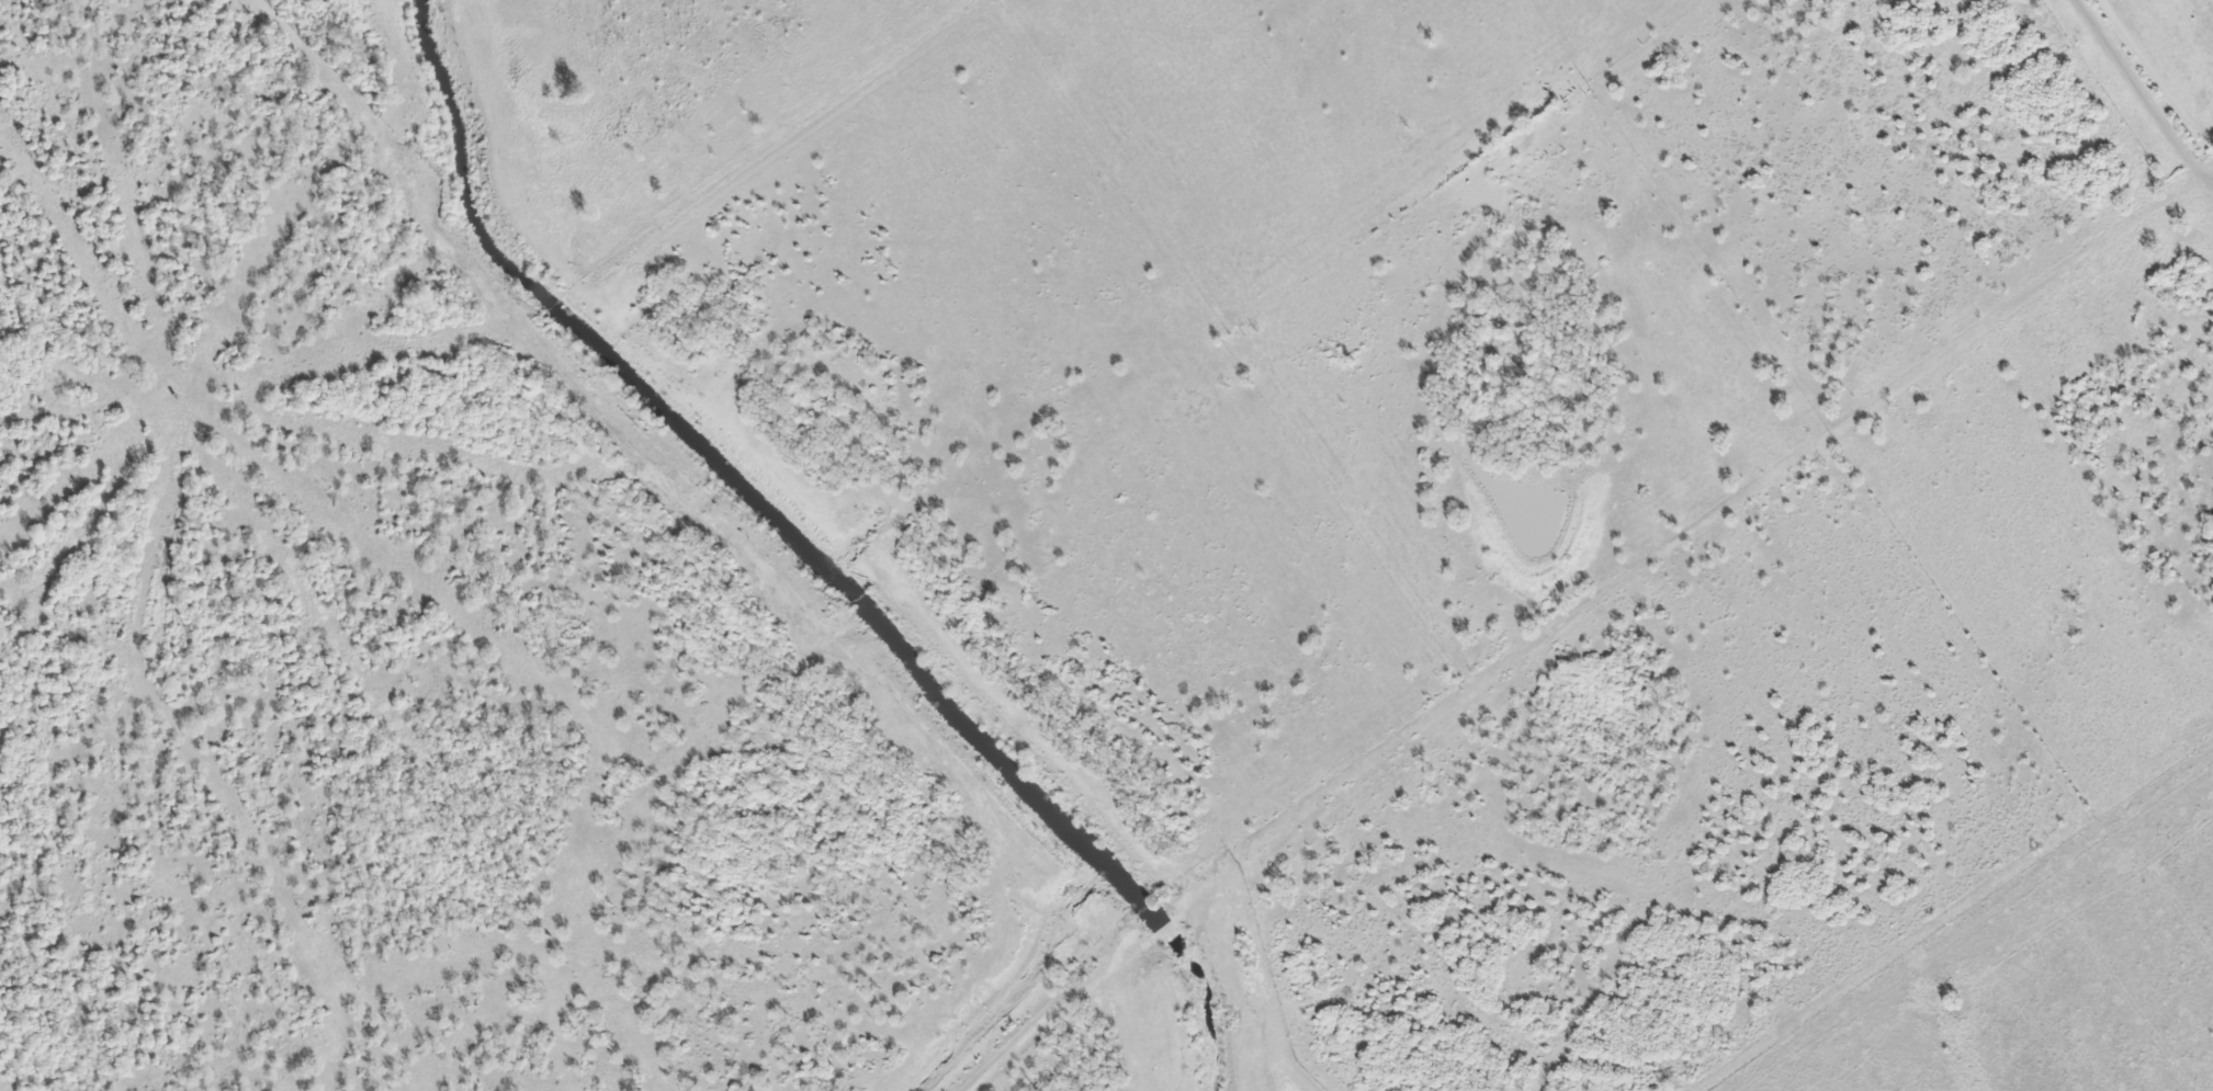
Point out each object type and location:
road: (2145, 92)

